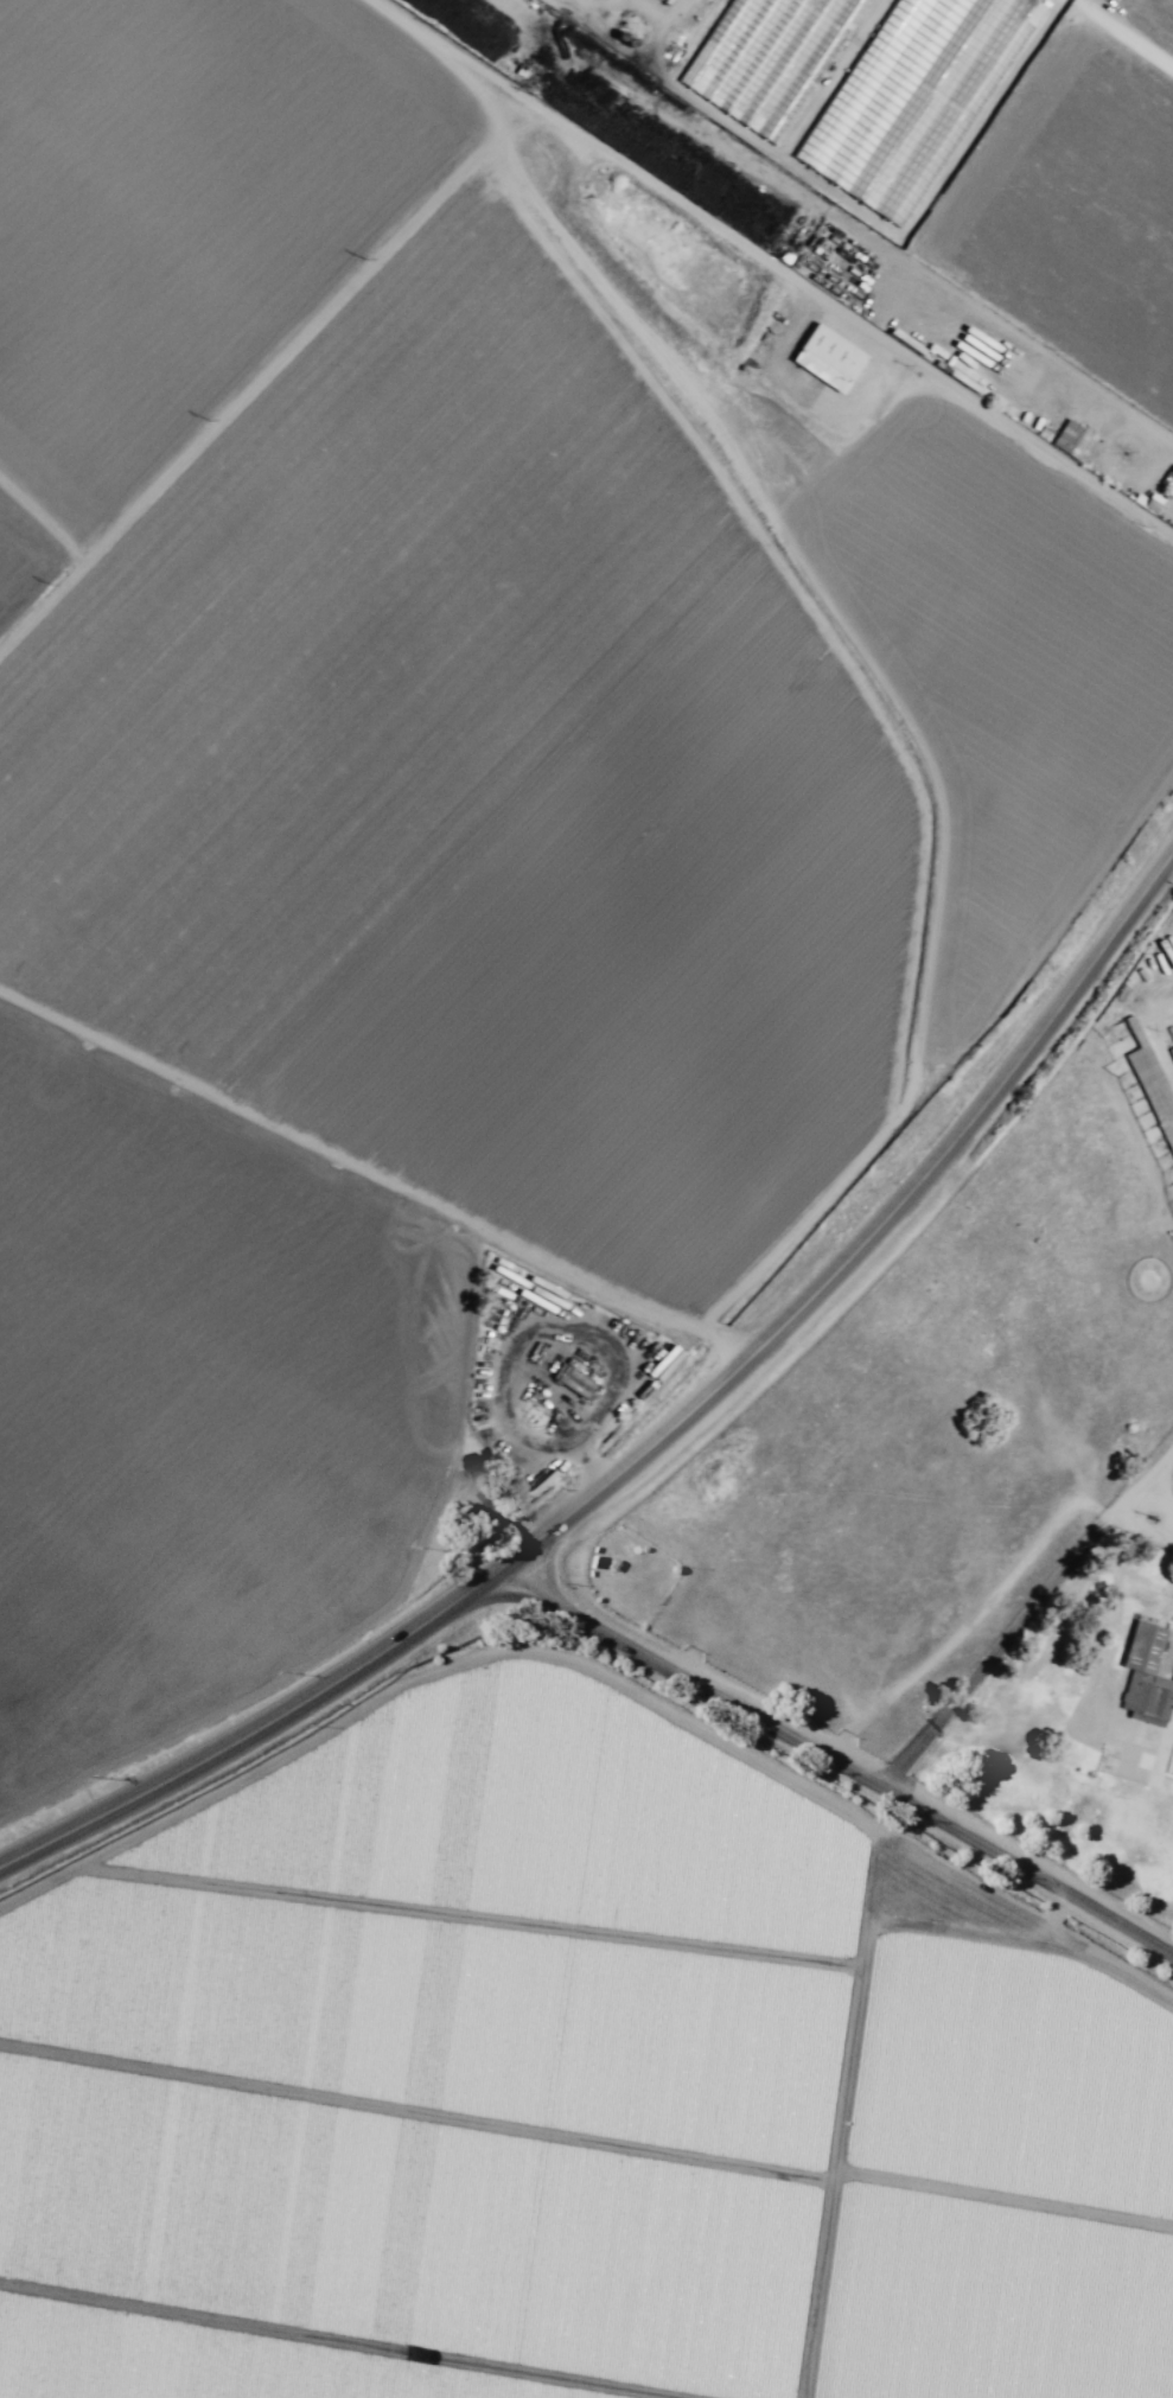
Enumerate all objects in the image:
building: (856, 108)
crop: (984, 148)
building: (828, 357)
building: (1072, 440)
crop: (444, 827)
building: (1171, 1050)
building: (1154, 1084)
building: (574, 1382)
road: (655, 1440)
road: (1016, 1625)
building: (1146, 1676)
road: (841, 1762)
building: (1171, 1766)
crop: (557, 2090)

